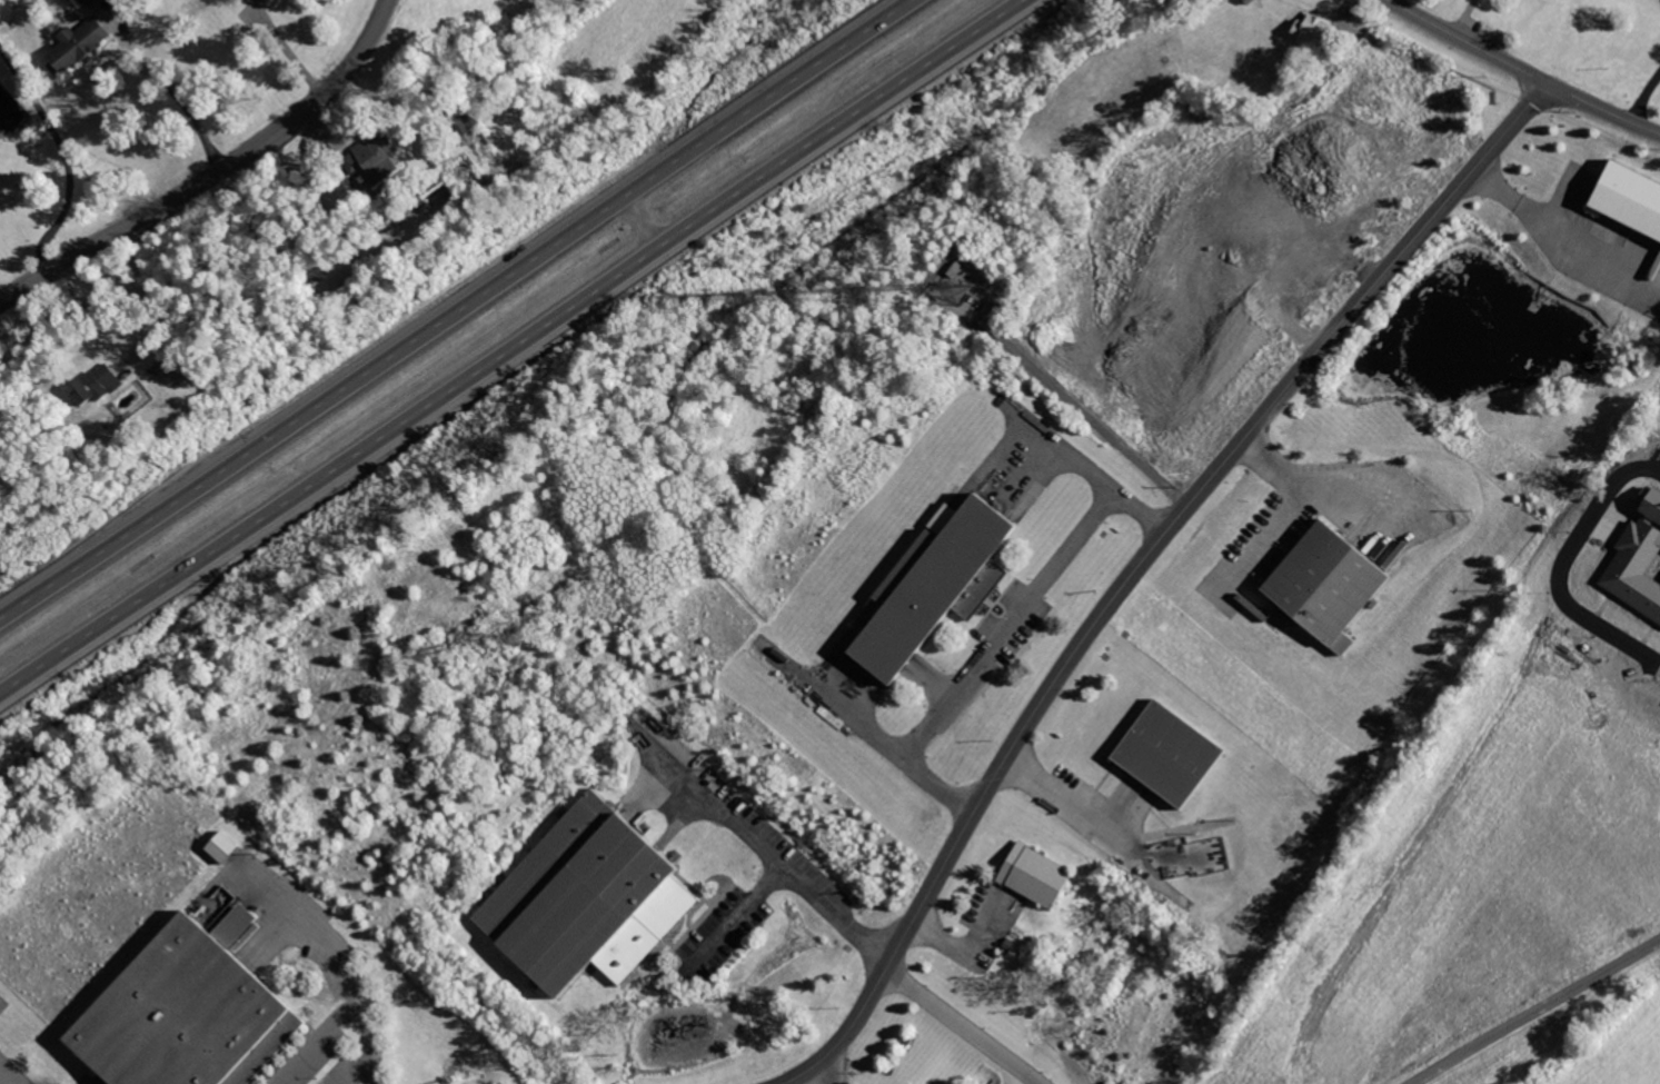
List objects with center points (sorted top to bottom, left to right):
building: (88, 2)
building: (1316, 31)
building: (77, 46)
road: (284, 47)
road: (1525, 70)
road: (165, 79)
road: (1646, 99)
building: (469, 122)
road: (67, 149)
building: (374, 158)
road: (215, 172)
building: (1629, 196)
road: (1557, 223)
road: (149, 302)
road: (459, 311)
road: (513, 347)
building: (98, 384)
road: (1074, 463)
road: (1294, 500)
building: (1609, 529)
building: (1639, 559)
road: (1140, 565)
building: (937, 585)
building: (1329, 587)
road: (996, 633)
road: (854, 718)
building: (1169, 754)
building: (222, 848)
road: (768, 854)
building: (1041, 877)
building: (592, 899)
road: (737, 911)
road: (350, 964)
road: (1535, 1008)
building: (192, 1012)
road: (965, 1026)
road: (316, 1040)
road: (818, 1076)

